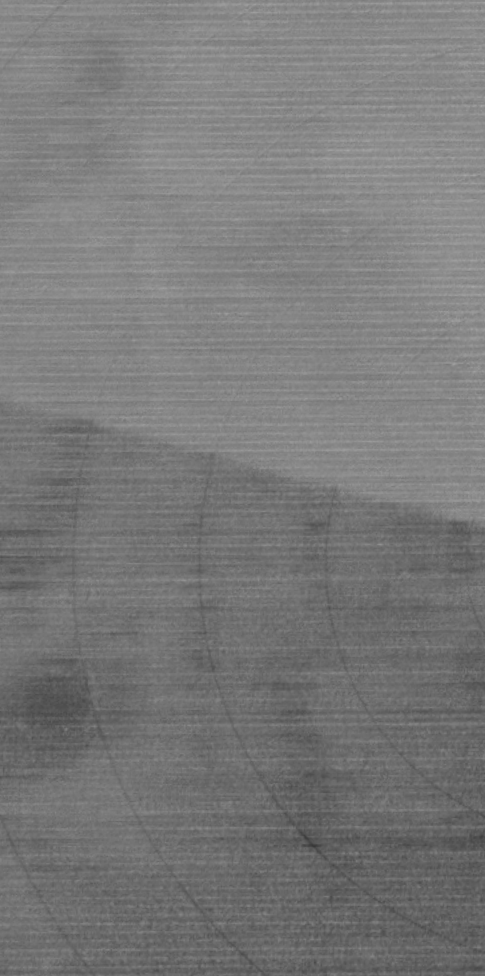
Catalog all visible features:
crop: (242, 488)

